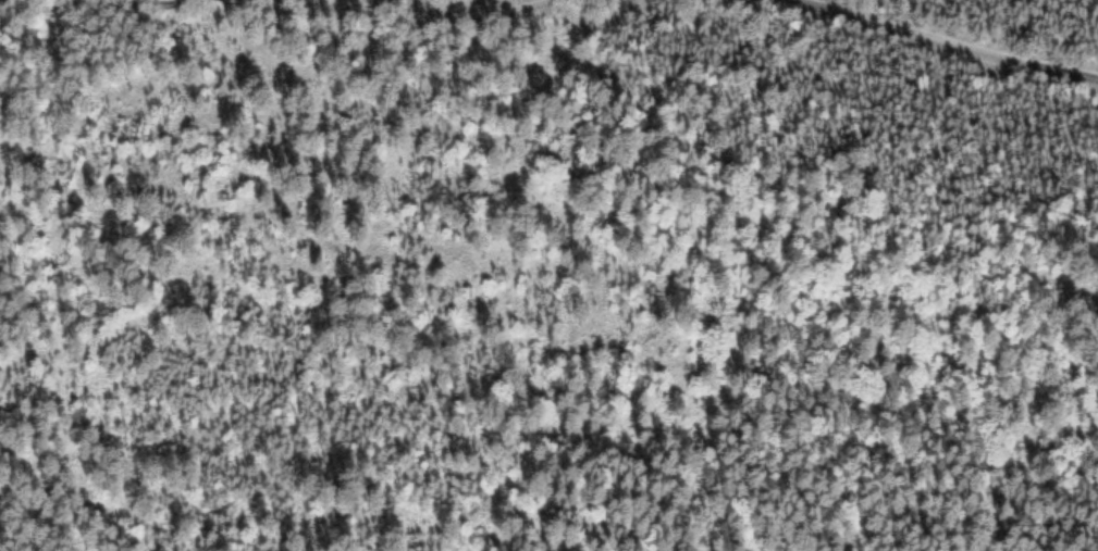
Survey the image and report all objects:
road: (274, 0)
road: (945, 43)
road: (1037, 535)

